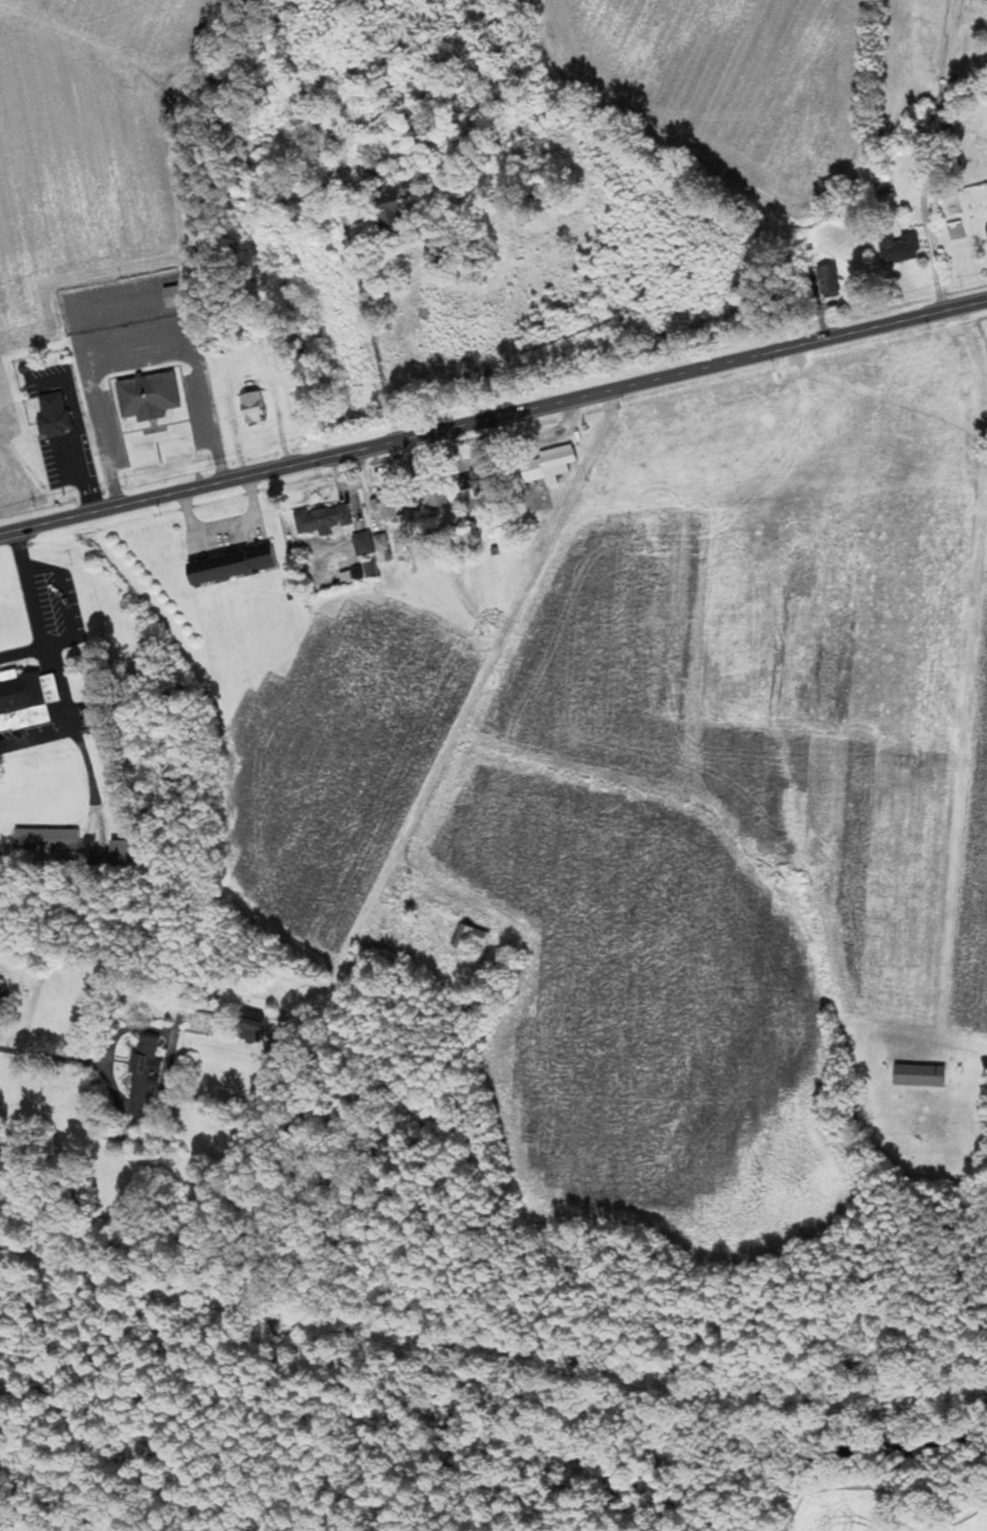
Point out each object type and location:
building: (390, 193)
building: (901, 247)
building: (831, 280)
building: (175, 296)
building: (149, 396)
building: (254, 406)
building: (54, 415)
road: (493, 417)
building: (549, 463)
building: (483, 489)
building: (438, 495)
building: (389, 504)
building: (324, 519)
road: (223, 527)
building: (365, 543)
building: (234, 564)
road: (69, 608)
building: (27, 699)
building: (48, 839)
building: (128, 853)
road: (438, 864)
building: (474, 939)
building: (2, 989)
building: (254, 1026)
road: (57, 1048)
building: (145, 1073)

